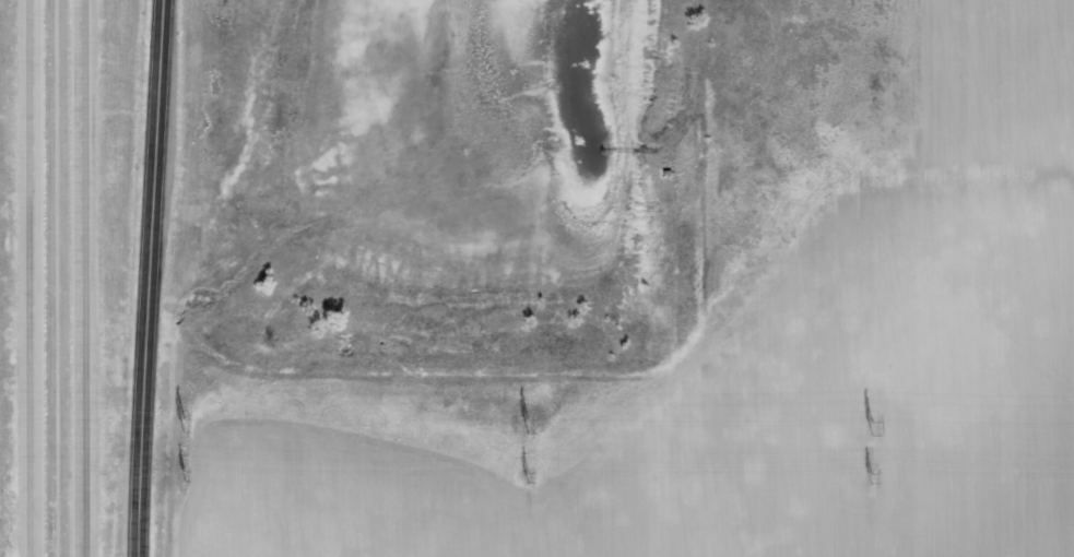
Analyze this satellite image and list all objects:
road: (101, 277)
road: (45, 278)
road: (172, 278)
power tower: (186, 422)
power tower: (528, 424)
power tower: (875, 424)
power tower: (186, 466)
power tower: (529, 474)
power tower: (873, 474)

